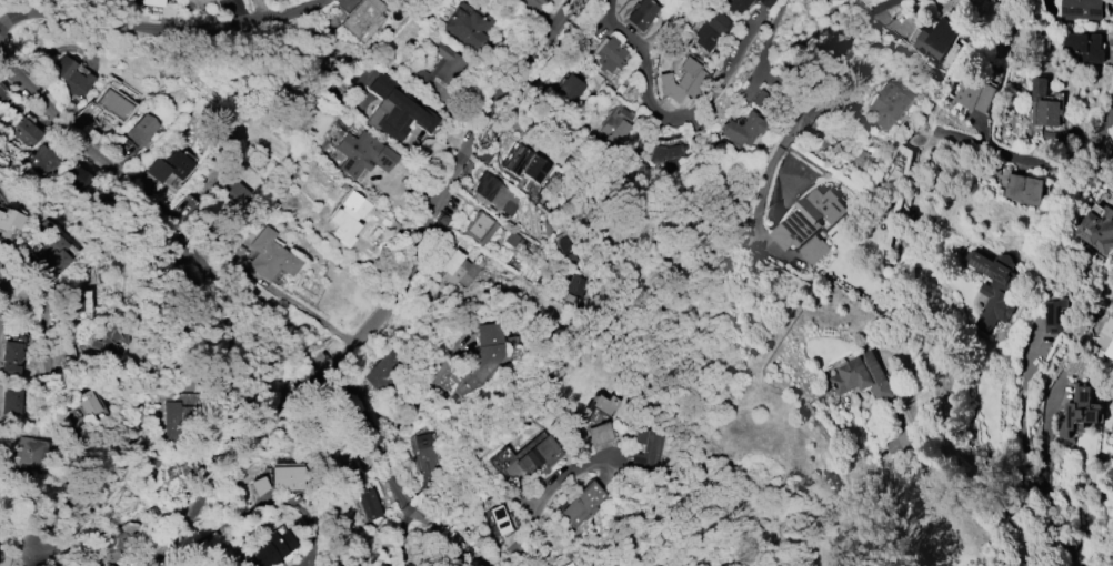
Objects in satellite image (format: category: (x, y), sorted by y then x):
building: (202, 1)
building: (152, 2)
building: (531, 3)
building: (765, 3)
building: (738, 6)
building: (1082, 9)
building: (168, 10)
building: (642, 14)
building: (361, 16)
building: (473, 24)
road: (160, 27)
building: (709, 29)
road: (772, 37)
building: (937, 39)
building: (1084, 47)
building: (609, 55)
building: (441, 68)
building: (71, 78)
building: (599, 79)
building: (676, 82)
building: (570, 87)
building: (975, 93)
building: (3, 94)
building: (112, 100)
building: (886, 105)
building: (1043, 105)
building: (392, 110)
road: (665, 113)
road: (798, 115)
building: (615, 127)
building: (740, 129)
building: (141, 130)
building: (26, 132)
building: (361, 153)
building: (671, 155)
building: (858, 158)
building: (42, 159)
building: (255, 159)
building: (168, 164)
building: (528, 165)
road: (1034, 165)
road: (122, 168)
building: (77, 181)
building: (1023, 189)
building: (230, 192)
building: (494, 193)
building: (0, 196)
building: (349, 211)
building: (9, 219)
building: (809, 224)
building: (480, 228)
building: (1099, 228)
building: (51, 247)
building: (270, 256)
building: (459, 270)
building: (581, 290)
building: (993, 291)
building: (16, 296)
building: (74, 302)
road: (397, 302)
building: (1054, 314)
building: (1106, 334)
building: (109, 338)
building: (9, 352)
building: (482, 355)
road: (244, 364)
building: (387, 371)
building: (862, 377)
road: (60, 397)
building: (10, 401)
building: (88, 403)
building: (602, 404)
building: (1079, 411)
road: (138, 416)
building: (178, 418)
road: (712, 433)
building: (599, 434)
building: (646, 452)
building: (30, 453)
building: (423, 453)
building: (535, 455)
building: (501, 456)
road: (1026, 461)
building: (191, 465)
road: (626, 472)
building: (274, 479)
road: (394, 486)
road: (964, 489)
building: (359, 493)
road: (778, 493)
building: (581, 505)
road: (538, 512)
building: (499, 519)
road: (408, 543)
building: (121, 544)
building: (267, 550)
road: (1111, 564)
building: (572, 565)

